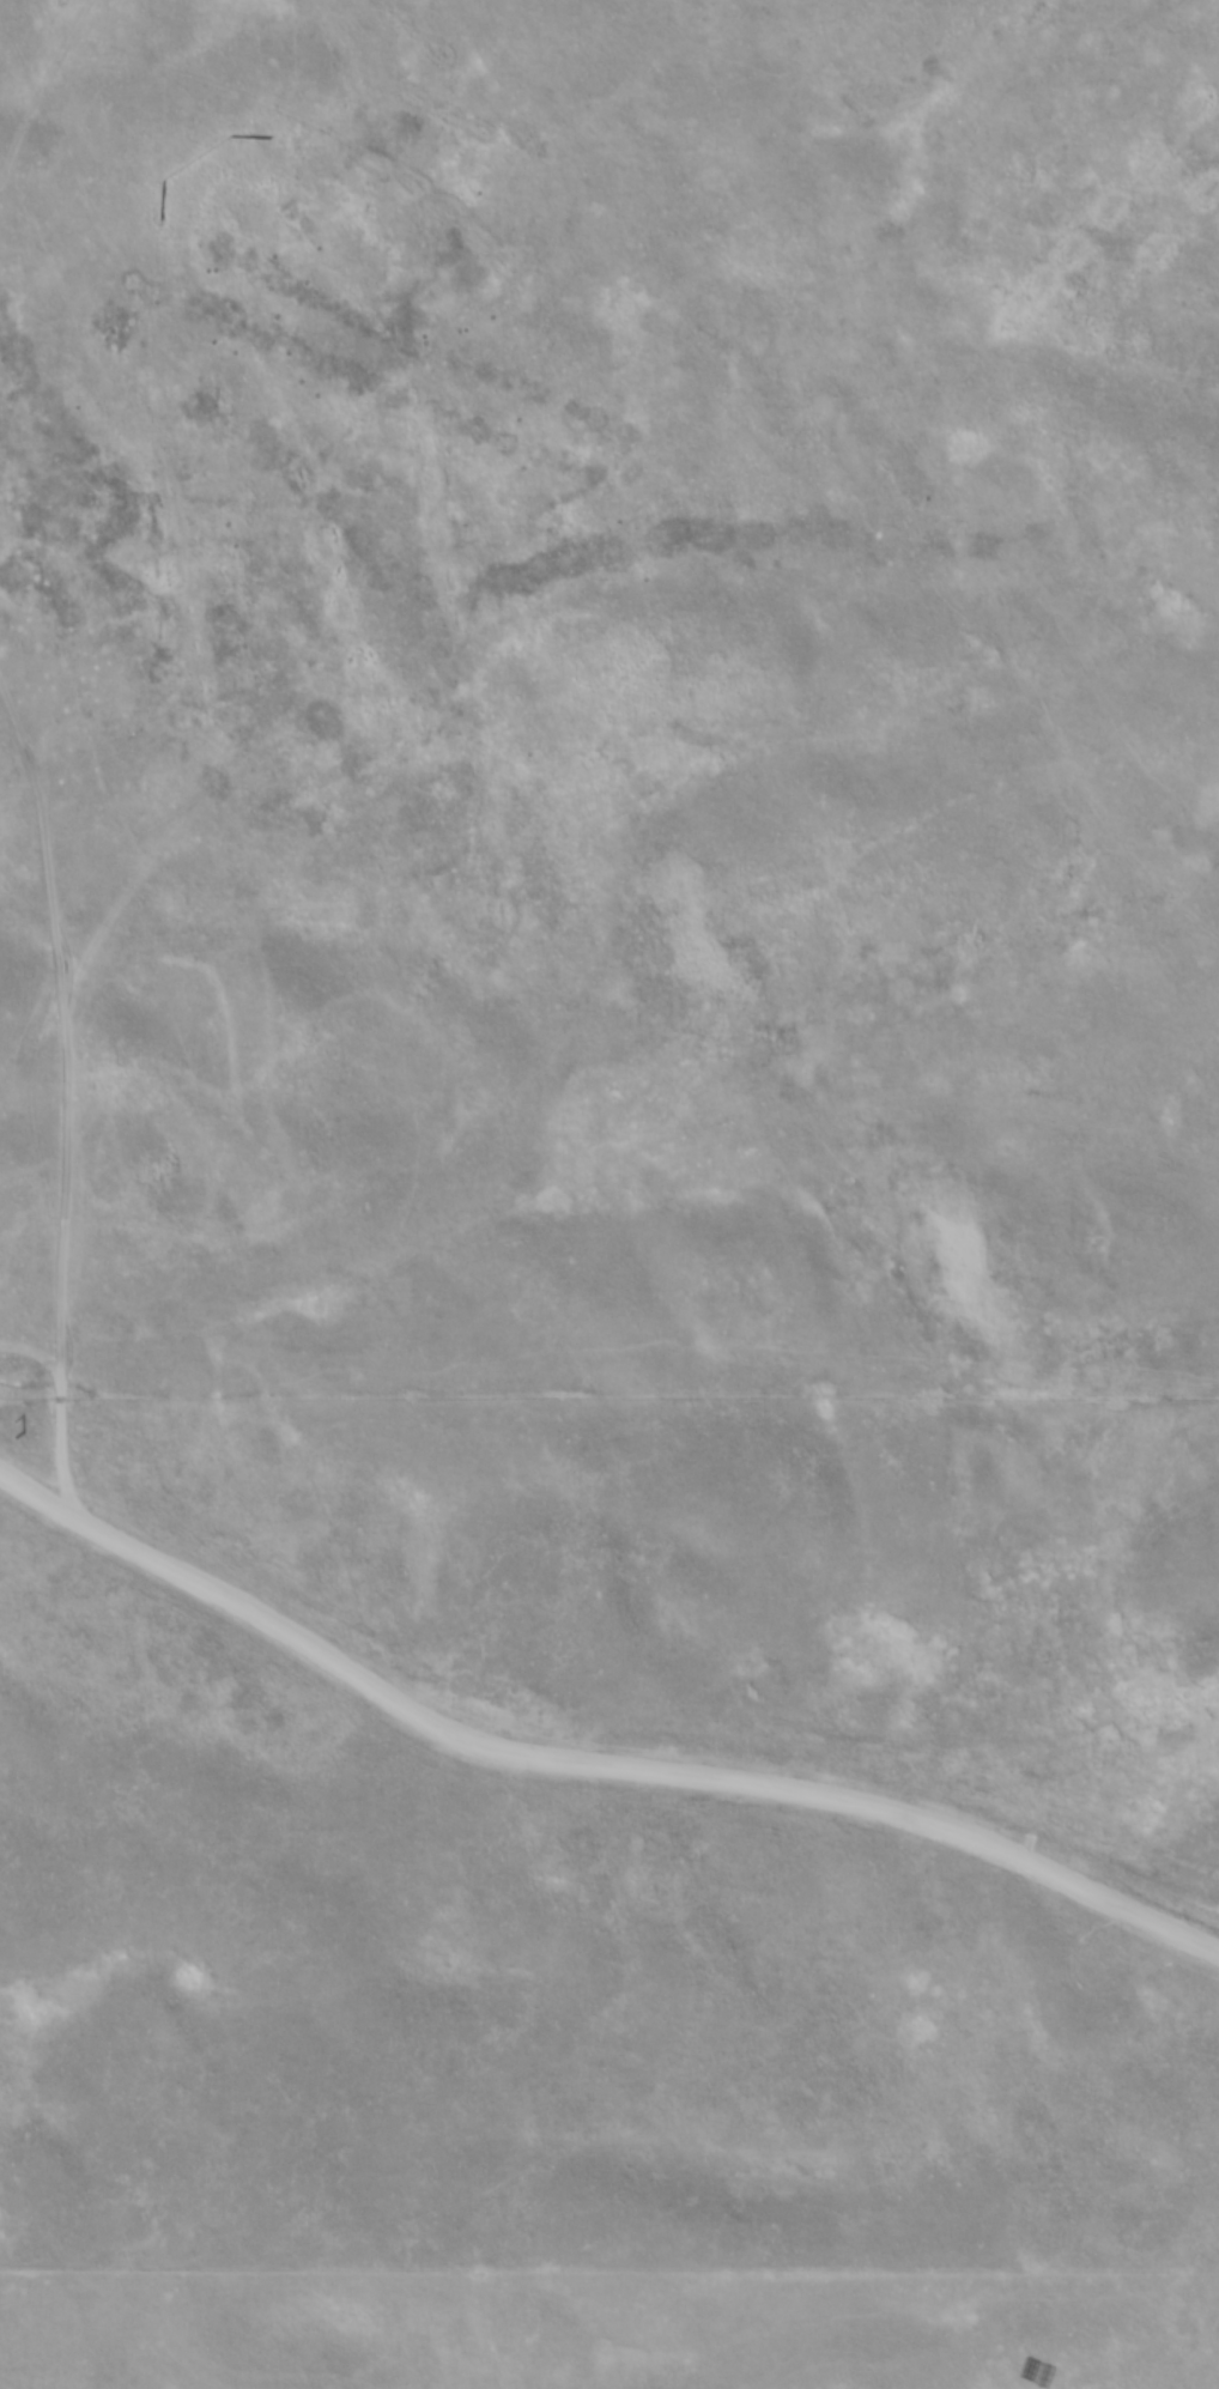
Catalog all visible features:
road: (592, 1756)

